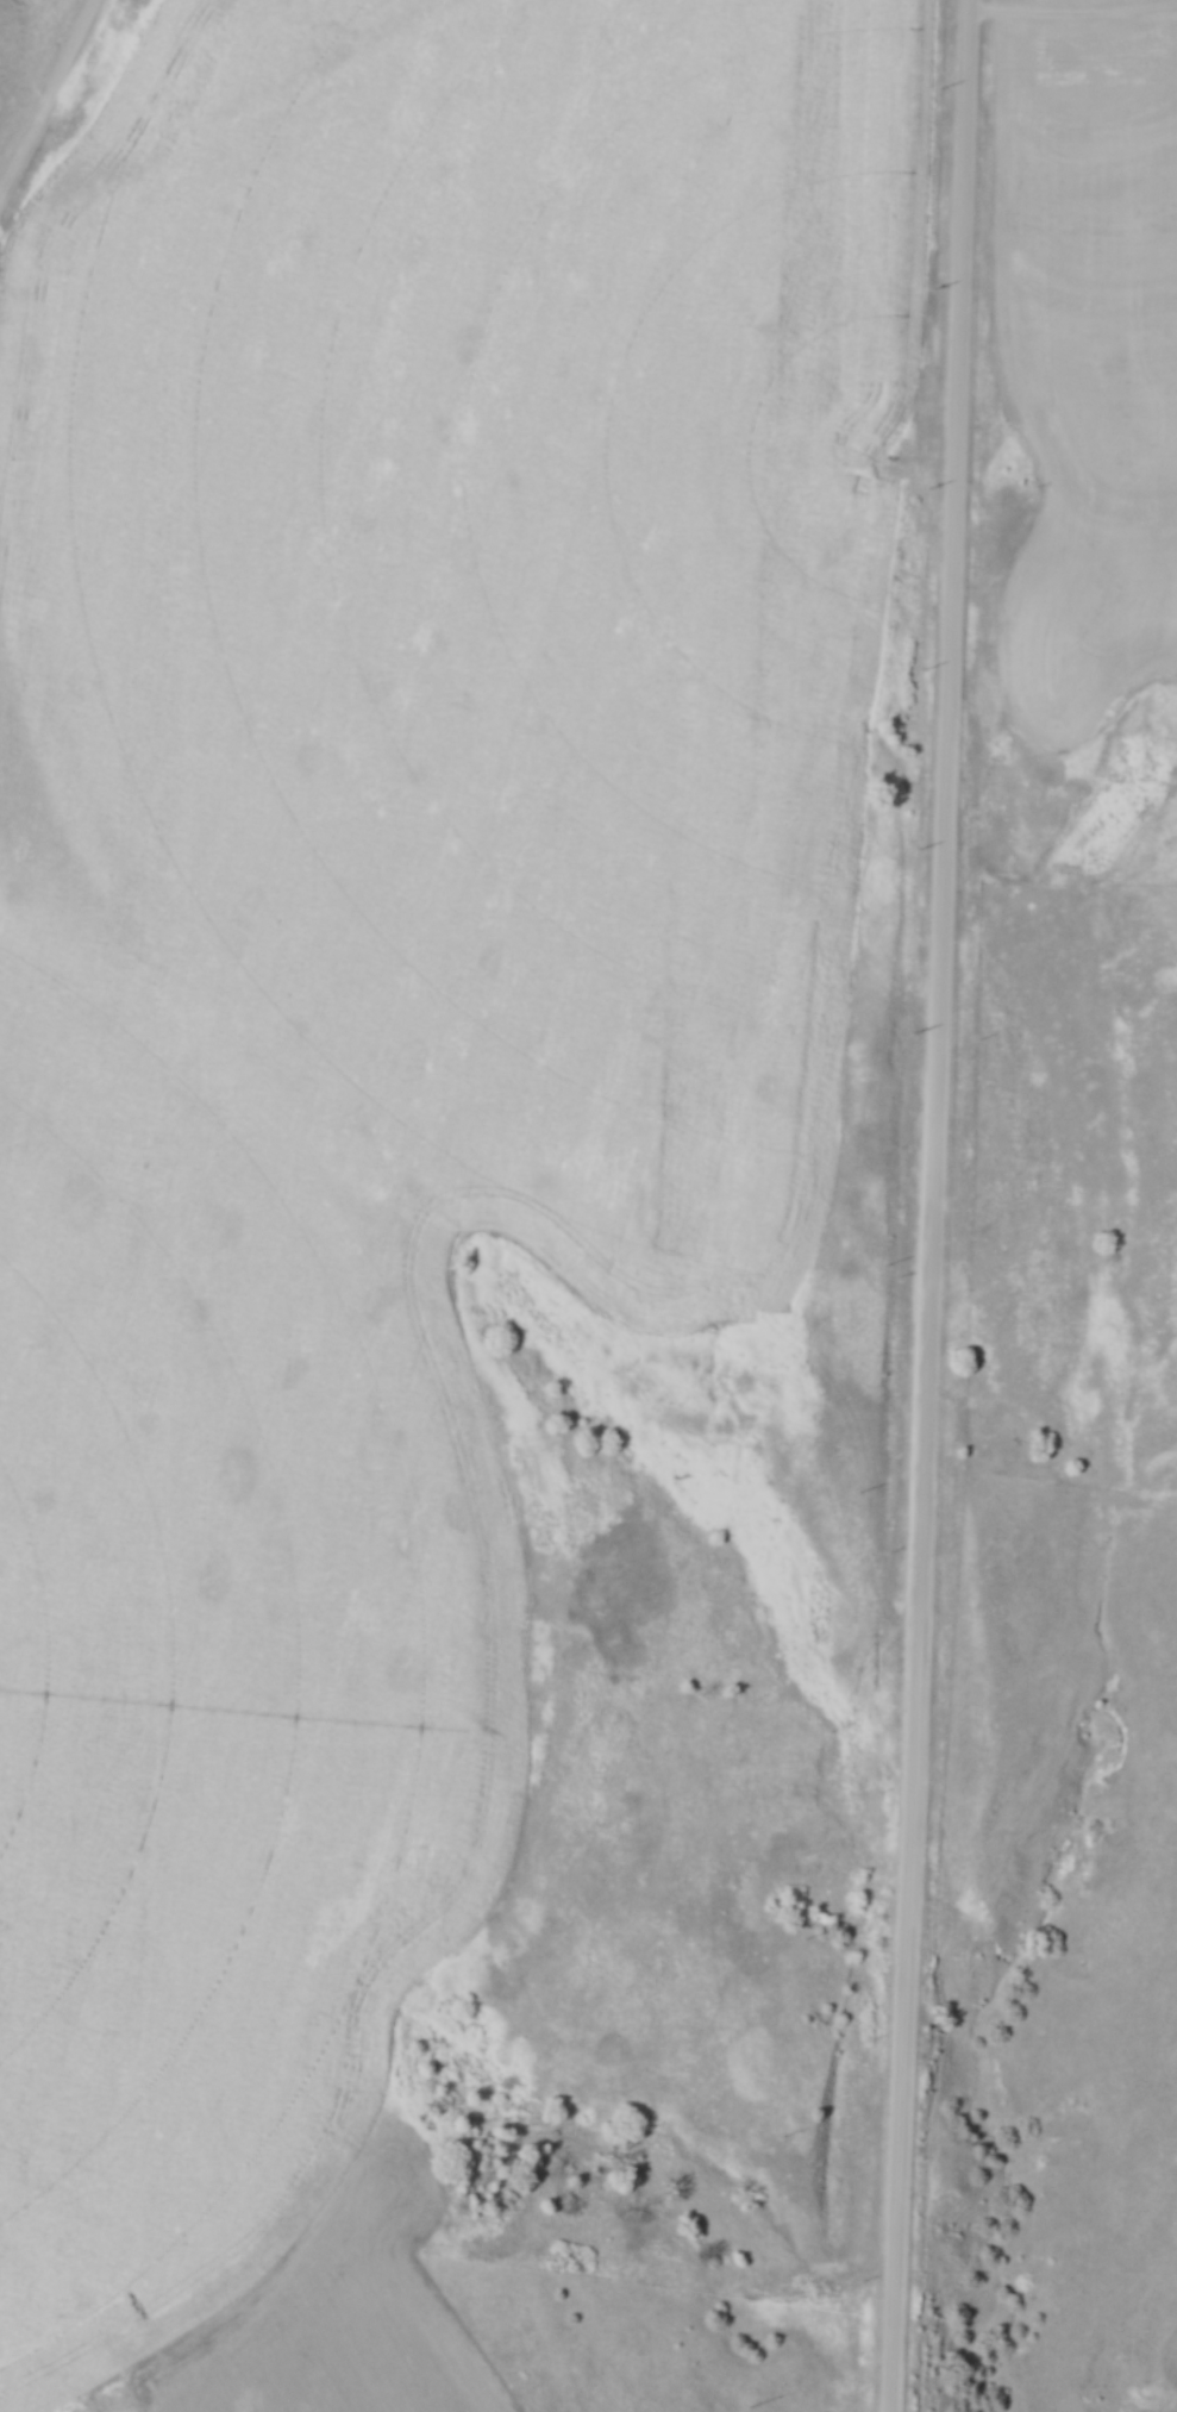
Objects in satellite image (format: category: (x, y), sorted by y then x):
road: (931, 1206)

